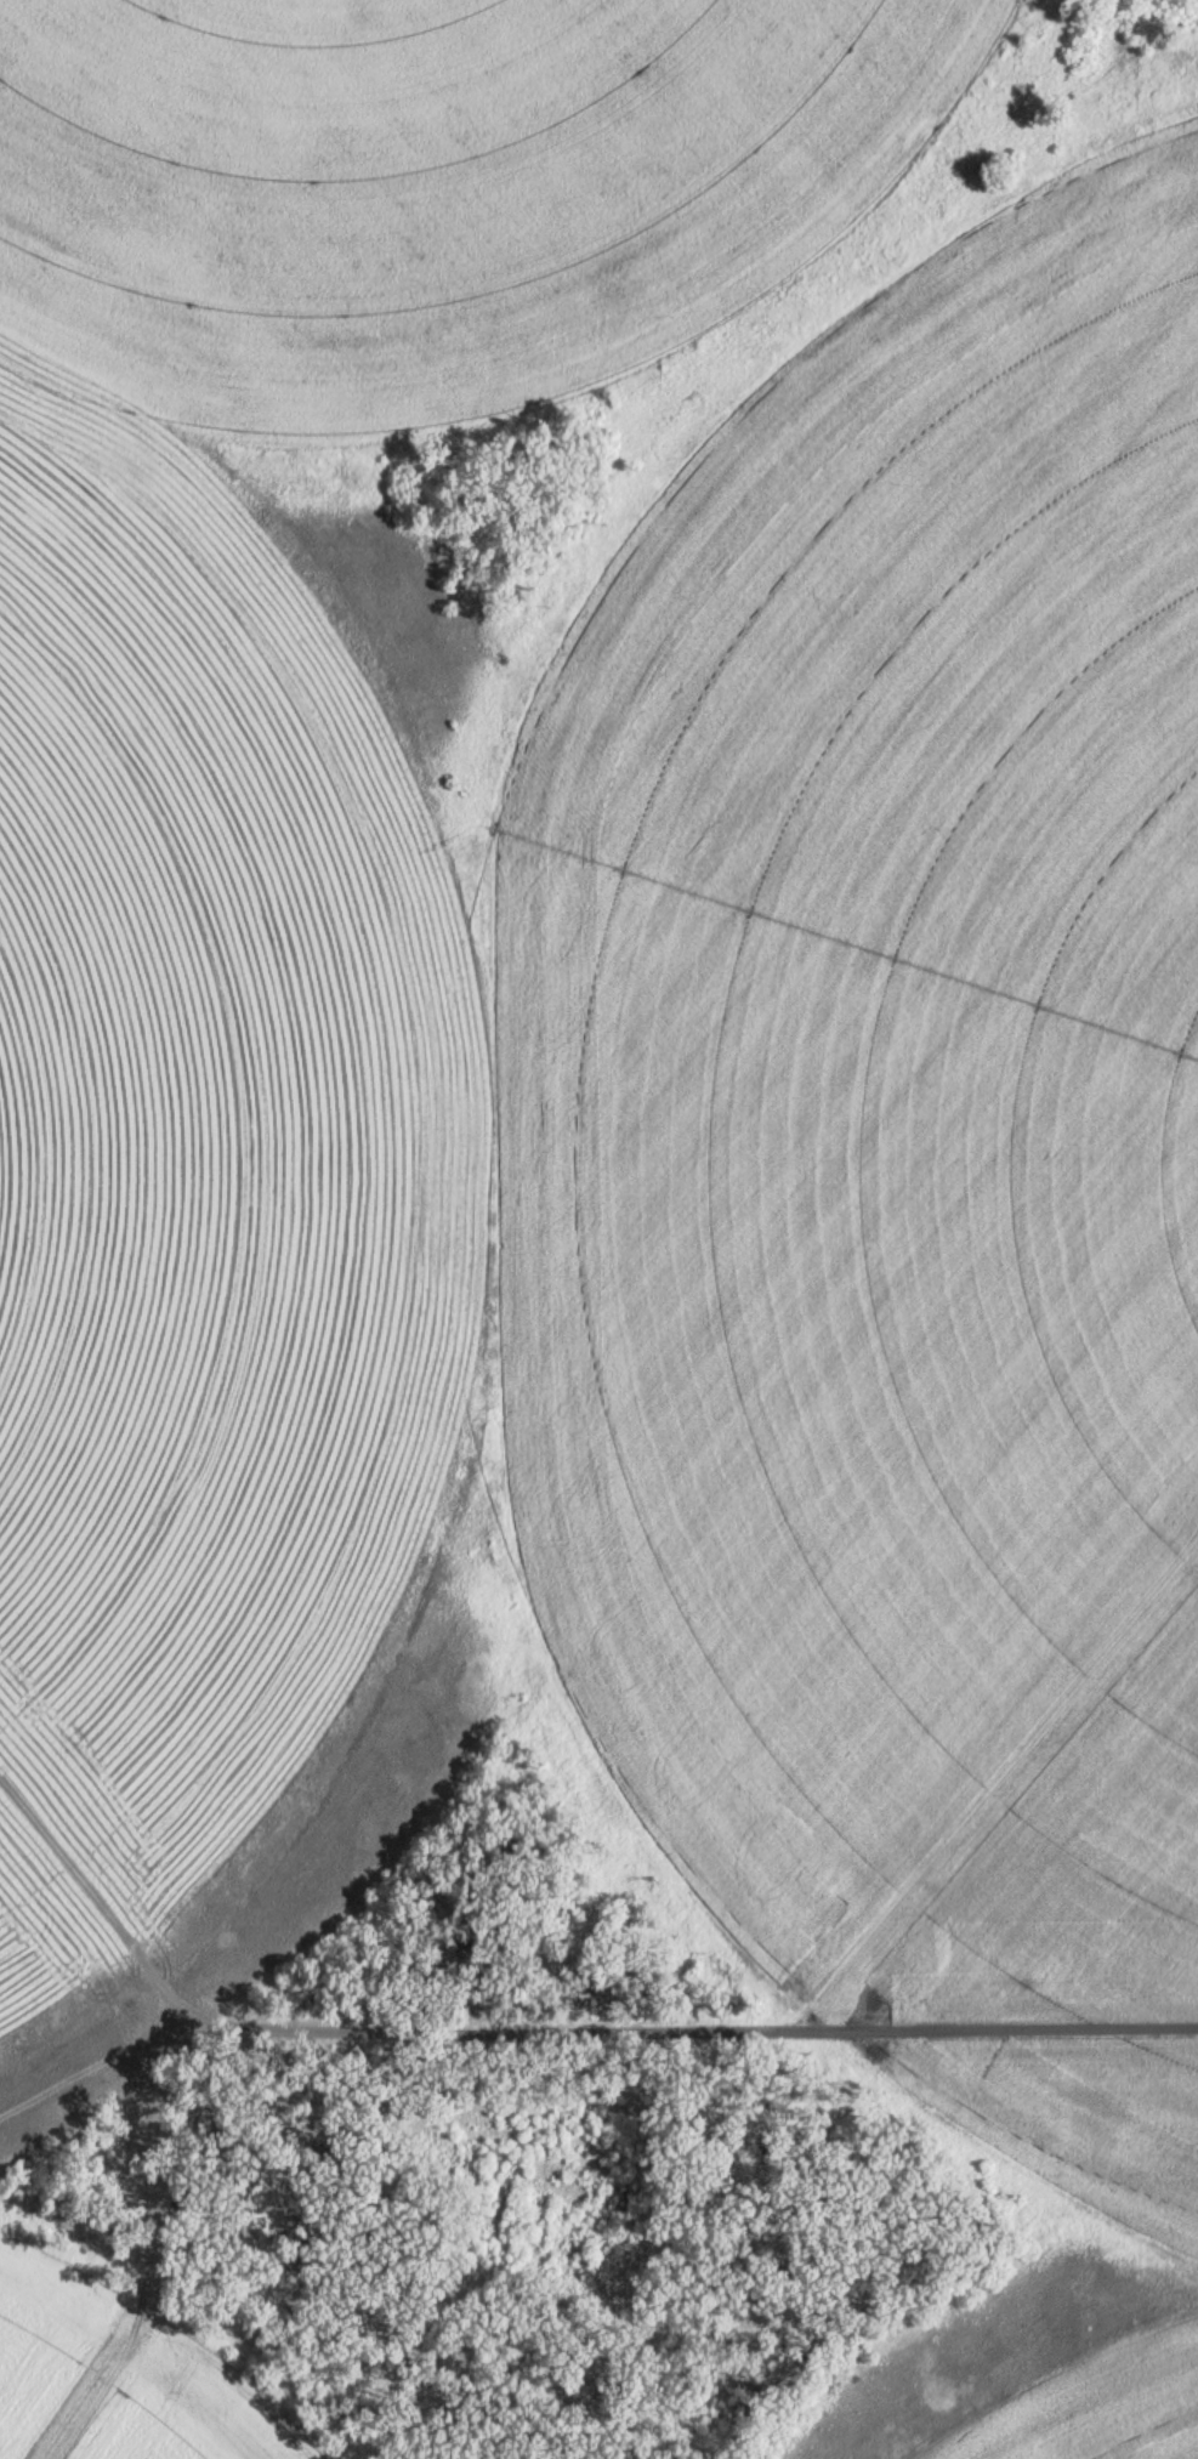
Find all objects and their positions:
wastewater plant: (598, 1229)
road: (717, 2028)

